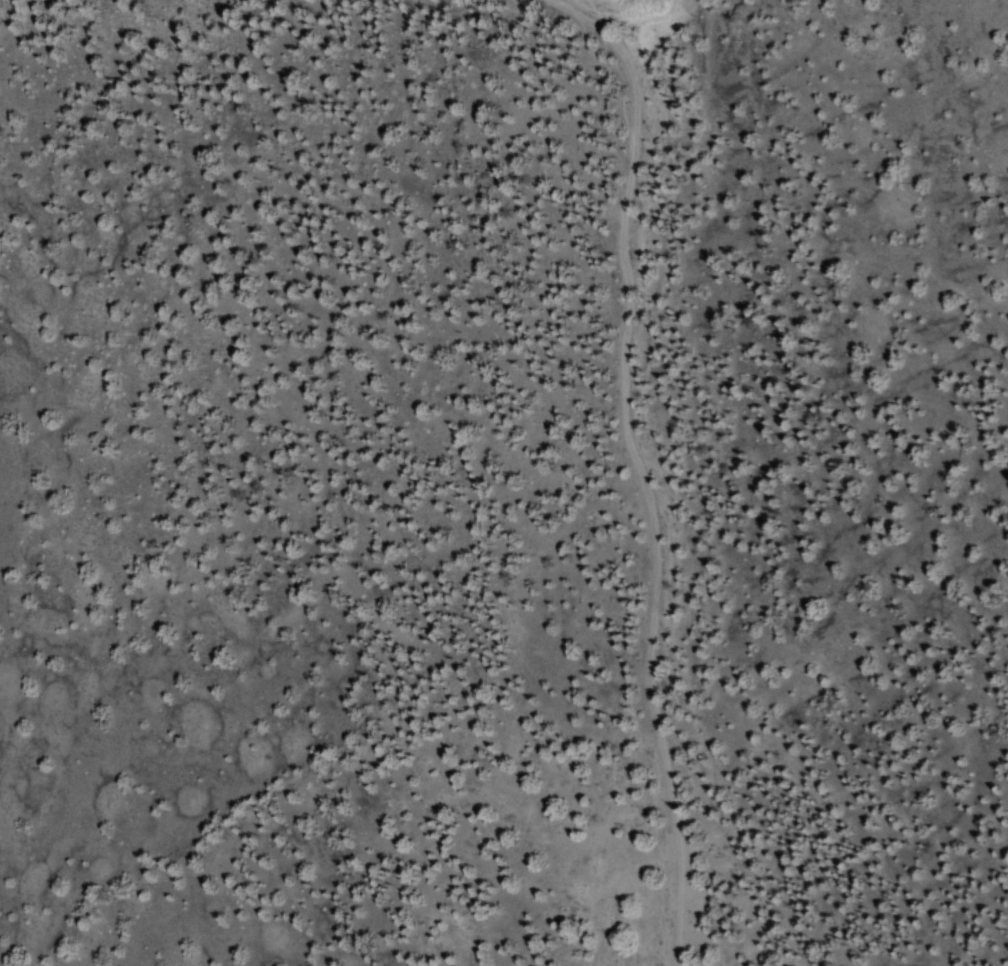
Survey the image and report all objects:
road: (636, 465)

